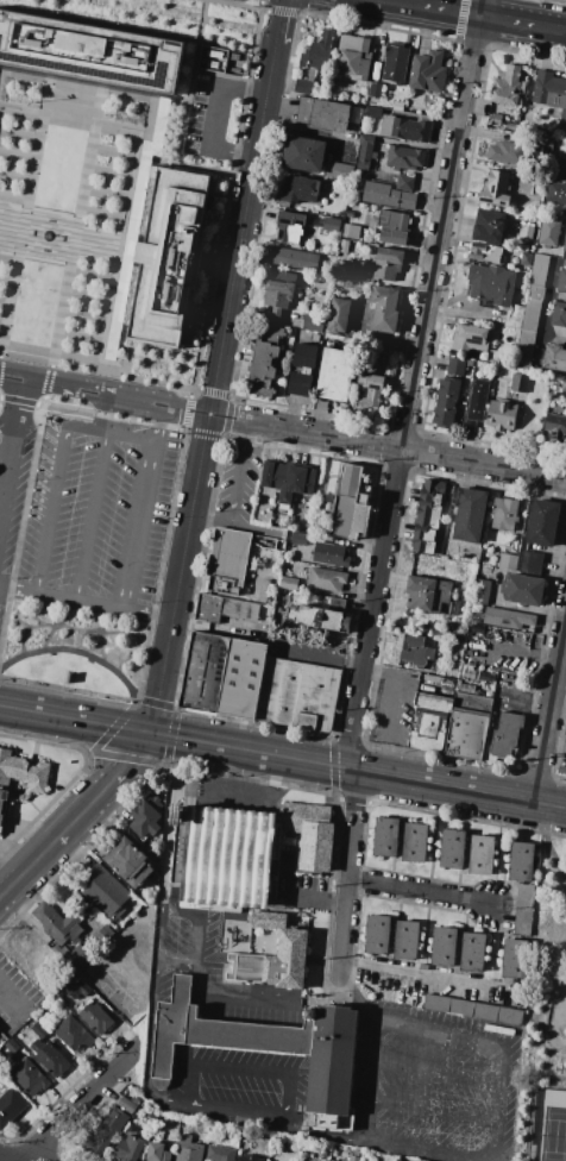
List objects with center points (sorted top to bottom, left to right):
road: (282, 12)
road: (474, 15)
road: (461, 18)
road: (275, 46)
building: (317, 52)
building: (89, 54)
building: (353, 58)
building: (395, 62)
building: (428, 71)
building: (306, 83)
building: (508, 87)
building: (376, 90)
road: (194, 93)
building: (551, 94)
building: (397, 106)
building: (372, 113)
building: (322, 114)
road: (213, 117)
building: (495, 119)
building: (386, 126)
building: (413, 128)
building: (543, 144)
building: (365, 149)
building: (507, 152)
building: (303, 153)
building: (373, 156)
building: (404, 157)
building: (361, 167)
building: (339, 170)
building: (556, 171)
building: (404, 182)
building: (416, 188)
building: (300, 189)
building: (496, 189)
building: (384, 195)
building: (548, 196)
building: (564, 197)
building: (350, 214)
road: (62, 225)
building: (331, 225)
building: (289, 226)
building: (489, 226)
building: (392, 228)
building: (351, 231)
building: (526, 232)
building: (547, 232)
building: (564, 243)
building: (543, 249)
building: (485, 252)
road: (238, 255)
building: (168, 257)
building: (294, 258)
building: (526, 258)
building: (388, 264)
building: (539, 270)
building: (561, 281)
building: (491, 284)
building: (278, 293)
building: (534, 293)
building: (384, 308)
building: (559, 314)
building: (338, 315)
building: (530, 315)
building: (514, 316)
building: (313, 322)
building: (470, 338)
building: (524, 345)
building: (383, 350)
road: (0, 351)
building: (554, 358)
building: (264, 360)
building: (302, 370)
building: (335, 375)
building: (518, 383)
road: (411, 384)
building: (564, 384)
building: (367, 387)
road: (191, 388)
road: (76, 391)
building: (447, 395)
building: (476, 403)
road: (45, 404)
road: (181, 410)
building: (502, 415)
road: (228, 419)
road: (151, 420)
road: (67, 422)
building: (555, 428)
road: (126, 432)
road: (11, 445)
road: (407, 448)
road: (200, 463)
building: (288, 481)
road: (234, 490)
building: (350, 506)
road: (48, 507)
building: (504, 513)
road: (89, 514)
building: (427, 515)
building: (470, 515)
parking lot: (96, 521)
road: (134, 522)
building: (543, 522)
building: (297, 538)
building: (331, 554)
building: (529, 559)
building: (227, 561)
building: (508, 561)
building: (326, 580)
building: (288, 583)
building: (522, 589)
building: (480, 591)
building: (426, 595)
building: (262, 597)
road: (86, 602)
building: (208, 609)
building: (240, 609)
building: (320, 619)
building: (508, 619)
road: (171, 623)
building: (471, 627)
park: (73, 651)
building: (411, 652)
road: (518, 653)
road: (369, 665)
building: (203, 671)
building: (241, 678)
building: (438, 680)
building: (297, 694)
road: (149, 703)
road: (549, 713)
road: (71, 718)
building: (430, 722)
building: (467, 726)
building: (565, 732)
traffic signals: (144, 733)
road: (161, 735)
building: (502, 739)
road: (265, 754)
road: (333, 766)
road: (122, 768)
building: (561, 771)
building: (20, 777)
road: (225, 790)
road: (459, 790)
building: (146, 816)
road: (75, 820)
road: (169, 824)
building: (310, 834)
building: (386, 837)
road: (548, 840)
building: (414, 842)
building: (452, 849)
building: (482, 855)
building: (226, 856)
building: (284, 859)
building: (127, 861)
building: (521, 861)
road: (27, 867)
road: (350, 876)
road: (420, 892)
building: (107, 896)
building: (524, 904)
road: (197, 918)
building: (58, 924)
building: (105, 933)
building: (377, 934)
road: (158, 935)
building: (407, 940)
building: (293, 945)
building: (444, 947)
building: (473, 953)
building: (76, 958)
building: (515, 959)
road: (175, 960)
building: (423, 967)
building: (82, 987)
road: (347, 989)
road: (11, 998)
road: (229, 998)
road: (366, 1010)
building: (473, 1010)
building: (95, 1018)
park: (546, 1019)
park: (555, 1023)
building: (39, 1030)
building: (216, 1031)
road: (151, 1033)
building: (73, 1034)
road: (459, 1036)
building: (514, 1041)
building: (49, 1059)
building: (332, 1061)
road: (241, 1068)
road: (436, 1071)
building: (29, 1078)
road: (176, 1100)
road: (498, 1102)
building: (11, 1105)
road: (77, 1105)
building: (126, 1105)
road: (451, 1113)
building: (152, 1117)
building: (326, 1119)
park: (549, 1127)
building: (105, 1132)
road: (328, 1136)
building: (128, 1148)
building: (188, 1149)
building: (157, 1151)
road: (420, 1151)
building: (220, 1153)
building: (250, 1157)
building: (353, 1157)
road: (6, 1159)

